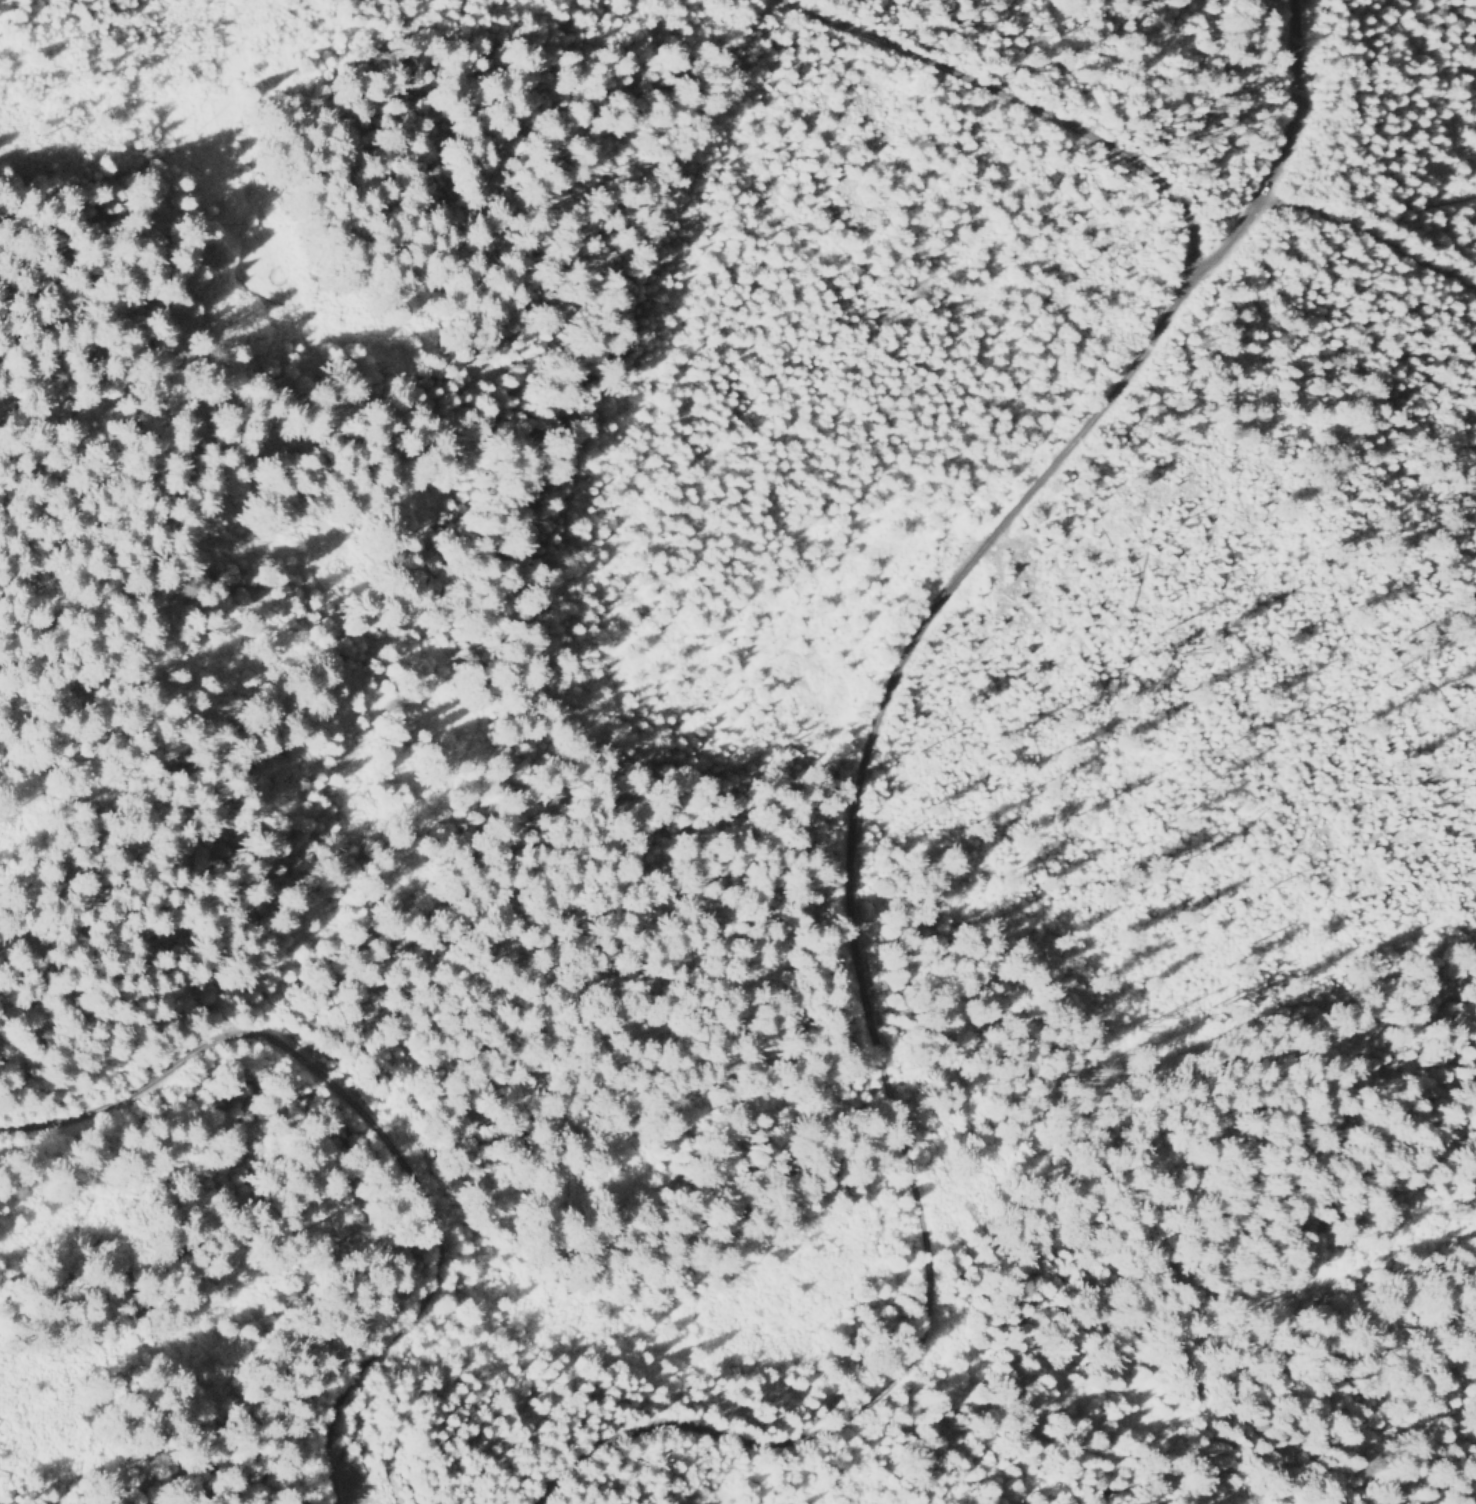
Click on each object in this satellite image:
road: (1024, 106)
parking lot: (1250, 211)
road: (1250, 237)
road: (1362, 243)
road: (835, 822)
road: (373, 1132)

